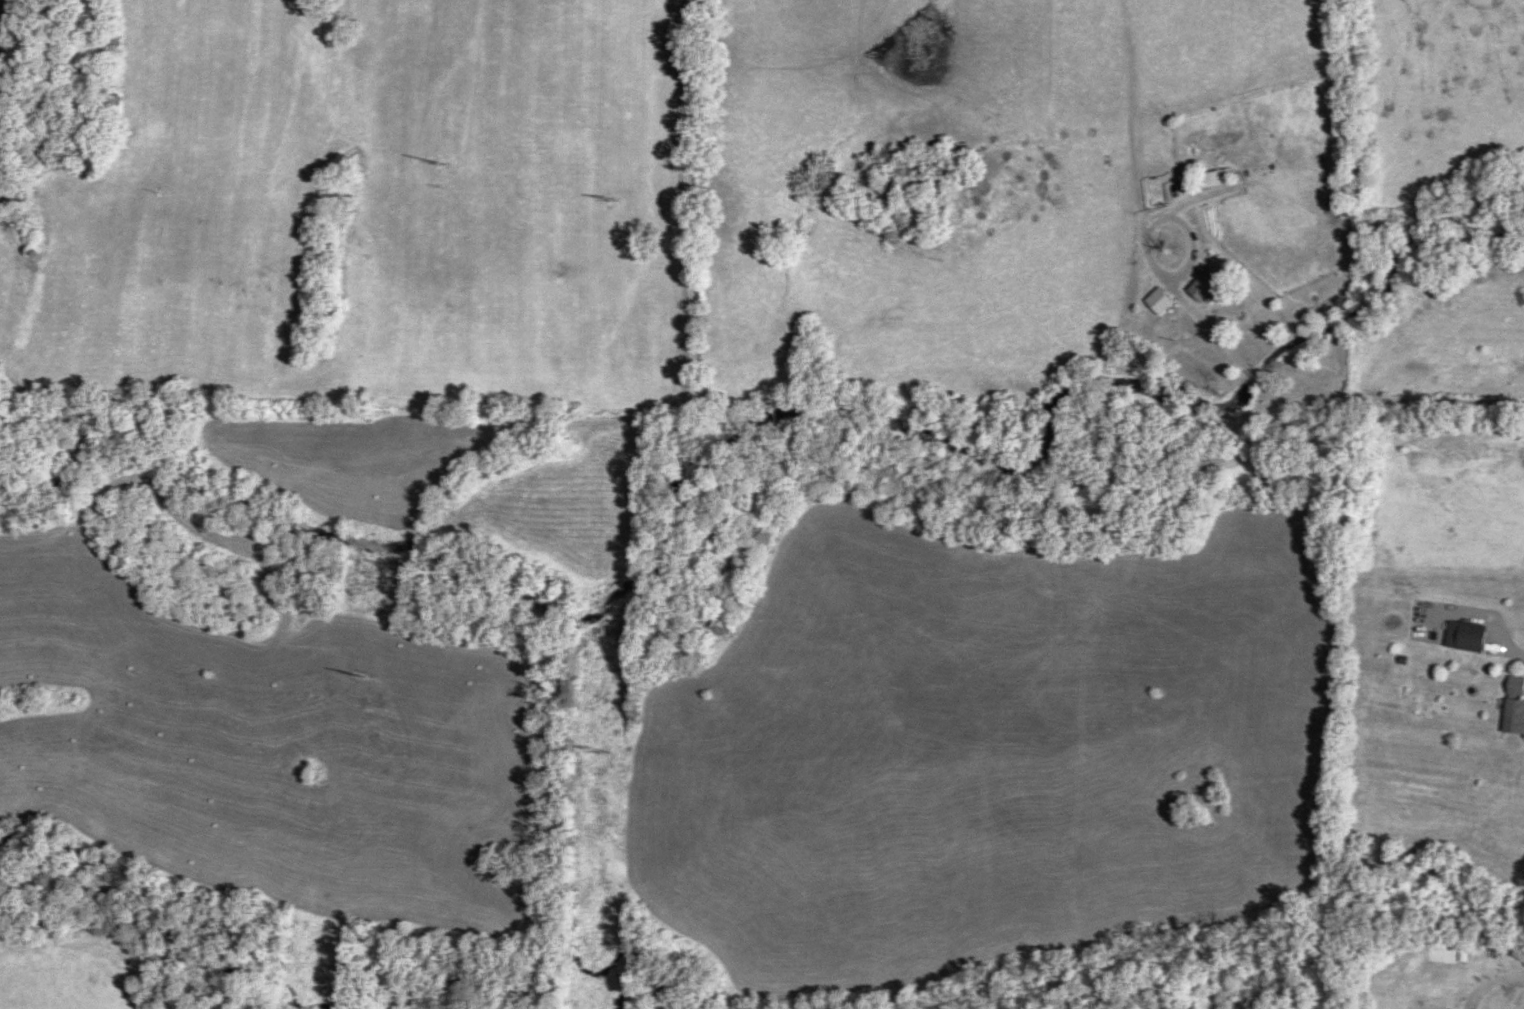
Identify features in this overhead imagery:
power tower: (440, 157)
building: (1215, 176)
power tower: (615, 198)
building: (1207, 283)
road: (913, 415)
building: (1466, 634)
power tower: (358, 673)
building: (1515, 702)
power tower: (605, 744)

